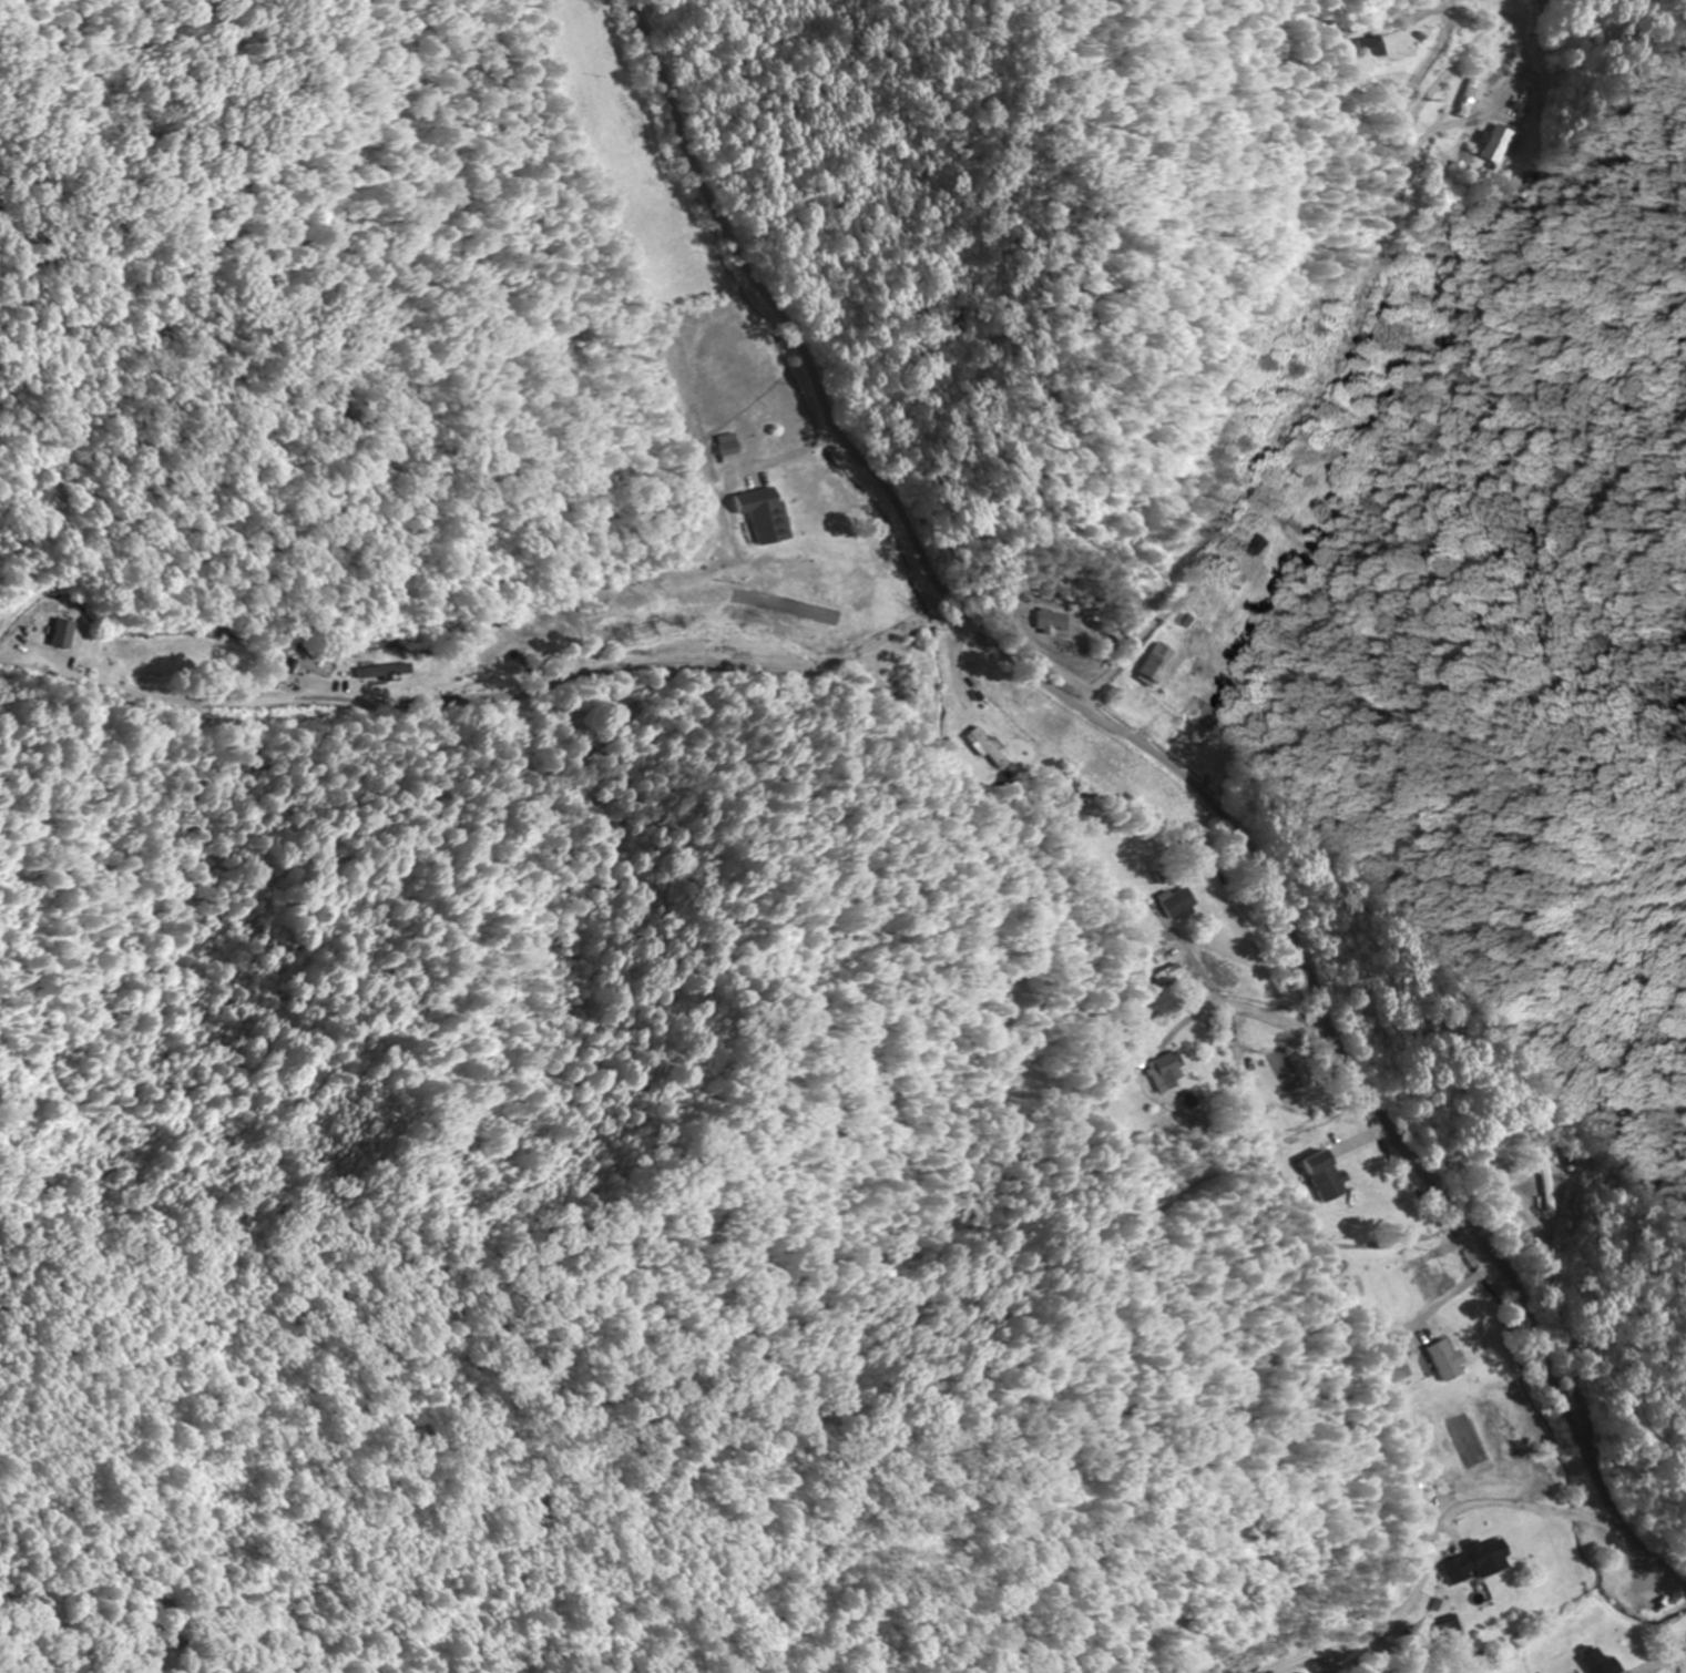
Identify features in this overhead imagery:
building: (1377, 48)
building: (1472, 99)
building: (1501, 141)
road: (1340, 388)
building: (770, 517)
building: (1258, 544)
building: (1056, 623)
building: (65, 634)
building: (1155, 670)
building: (387, 673)
building: (284, 682)
building: (990, 747)
road: (1176, 772)
building: (1181, 906)
building: (1168, 978)
road: (1267, 1020)
building: (1167, 1069)
building: (1328, 1176)
building: (1551, 1186)
building: (1451, 1340)
building: (1398, 1361)
road: (1441, 1543)
building: (1480, 1562)
building: (1602, 1662)

